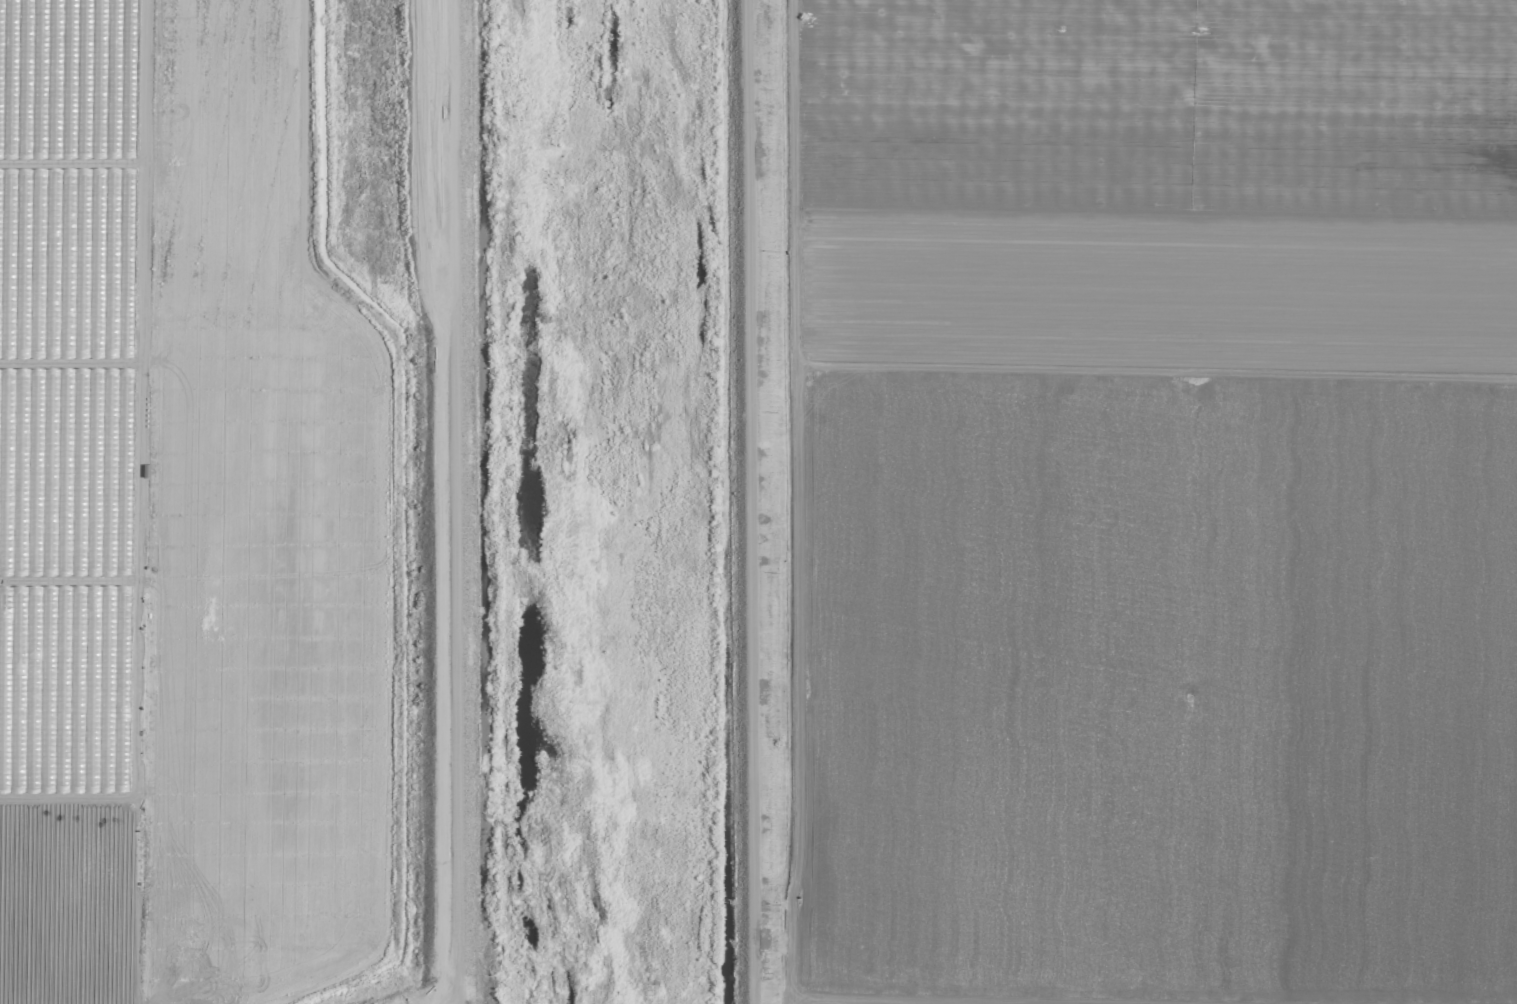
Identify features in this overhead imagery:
river: (583, 501)
road: (744, 501)
crop: (223, 502)
crop: (1150, 502)

